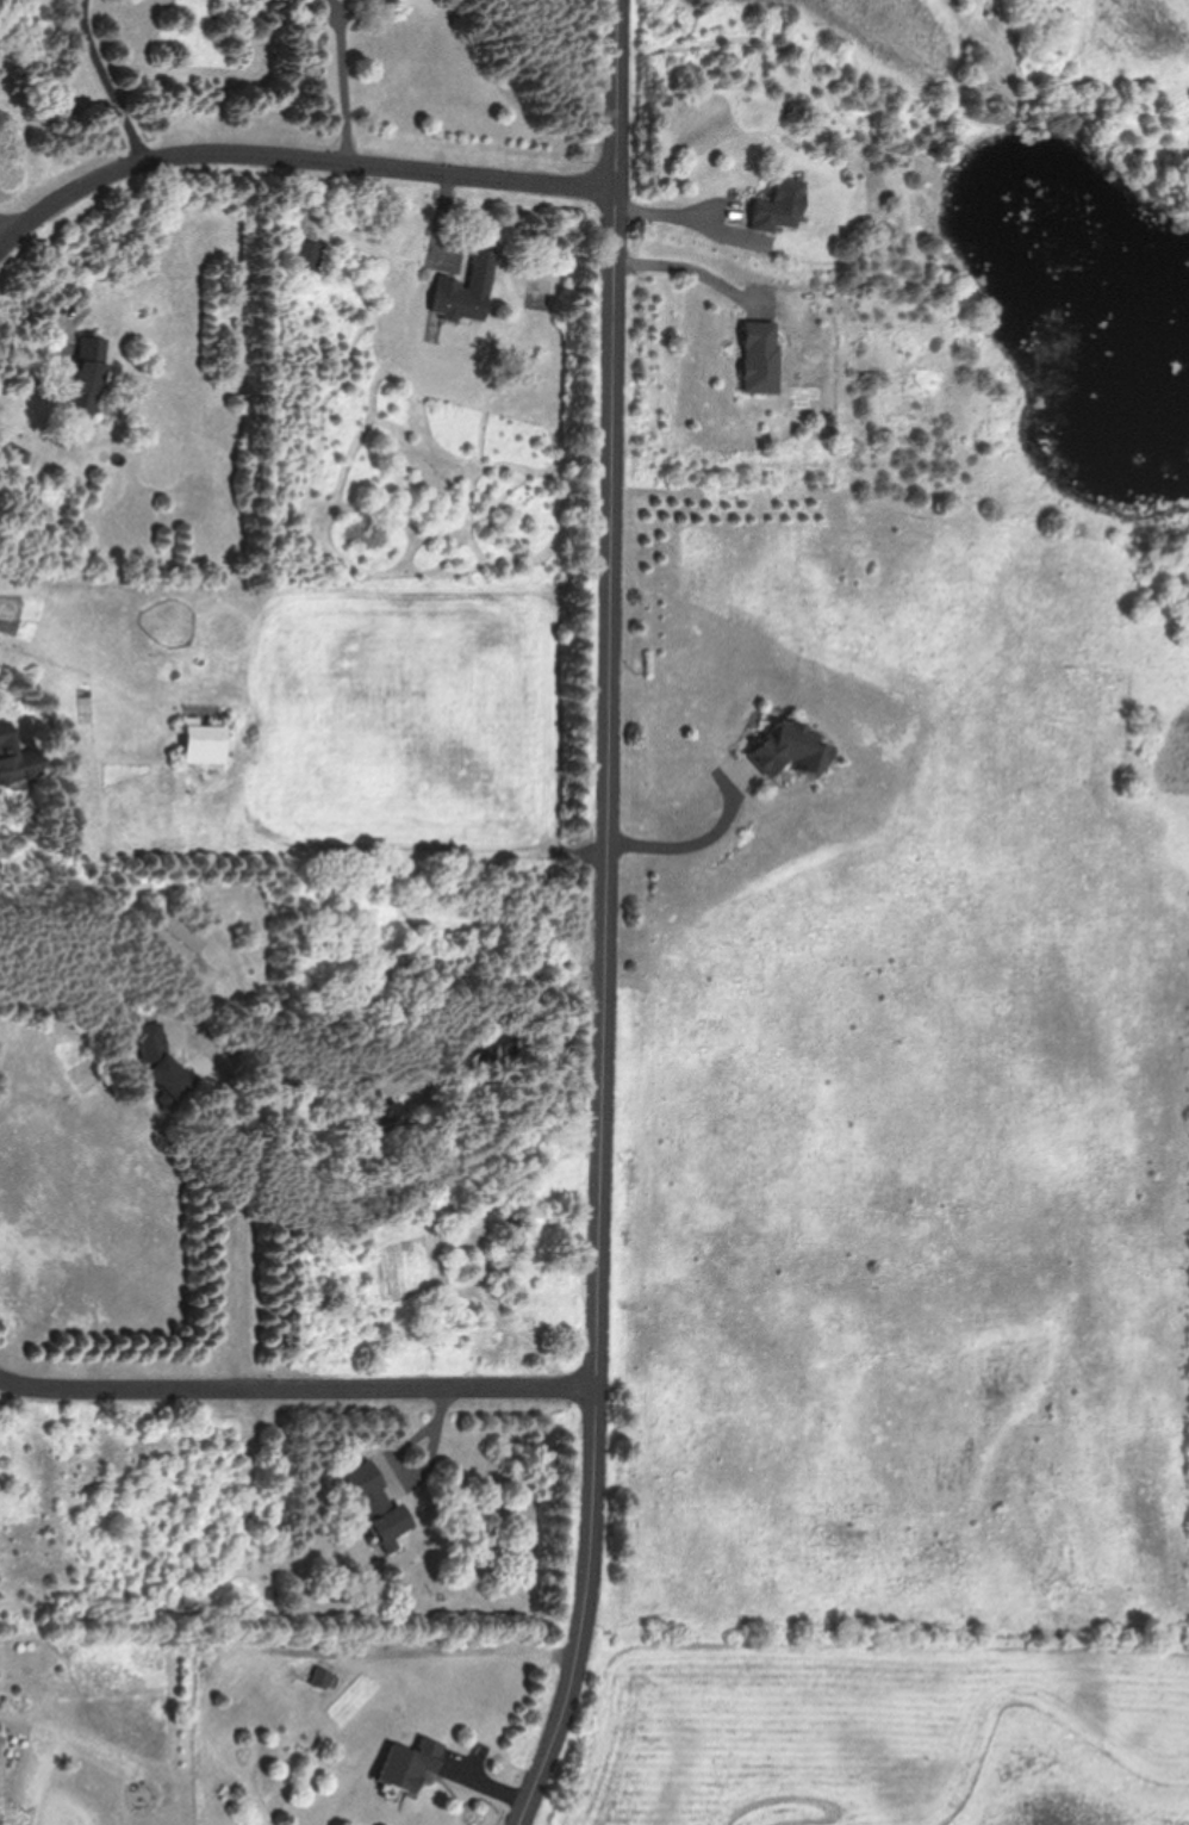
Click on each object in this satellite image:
road: (344, 83)
road: (111, 85)
road: (294, 165)
building: (784, 206)
road: (691, 218)
road: (12, 229)
building: (310, 255)
road: (689, 261)
building: (468, 292)
building: (765, 356)
building: (88, 374)
building: (206, 744)
building: (795, 750)
building: (17, 753)
road: (692, 842)
road: (608, 918)
building: (178, 941)
road: (492, 1020)
building: (500, 1048)
building: (166, 1067)
building: (387, 1117)
road: (244, 1198)
road: (298, 1389)
building: (380, 1502)
road: (457, 1652)
building: (323, 1678)
building: (412, 1762)

